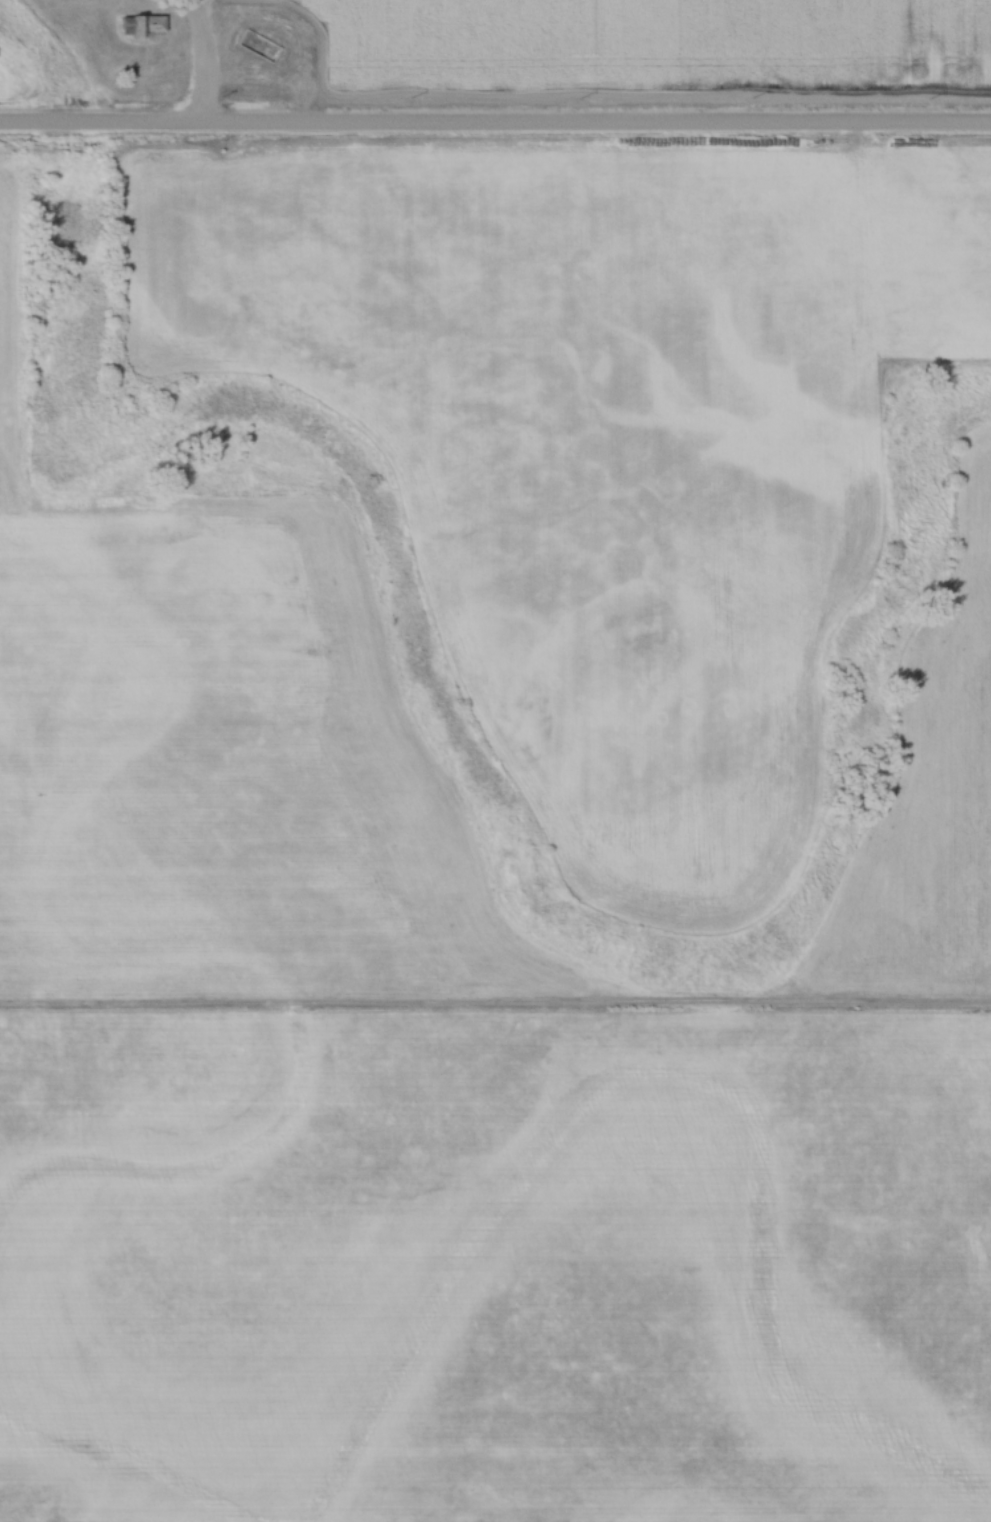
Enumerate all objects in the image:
building: (140, 28)
road: (203, 58)
road: (495, 126)

